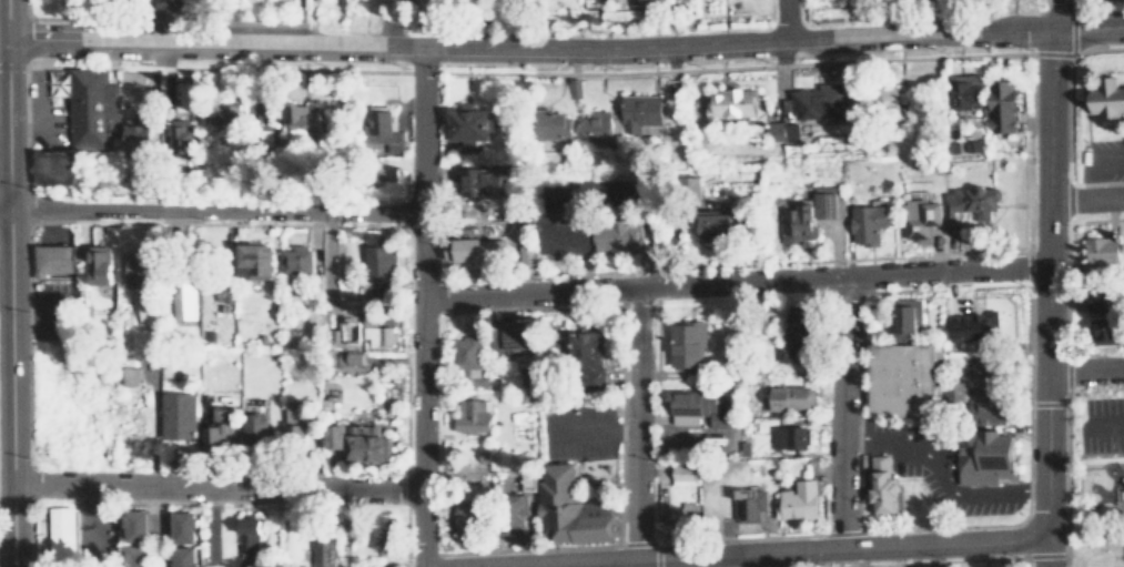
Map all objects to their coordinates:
parking lot: (174, 6)
park: (130, 8)
road: (780, 20)
road: (148, 21)
road: (192, 22)
road: (2, 28)
road: (1087, 30)
road: (528, 47)
building: (964, 90)
building: (1104, 97)
building: (813, 101)
building: (732, 103)
building: (1003, 107)
building: (87, 109)
building: (226, 112)
building: (640, 112)
building: (301, 118)
building: (467, 123)
building: (551, 124)
building: (596, 128)
building: (382, 131)
building: (781, 131)
building: (179, 135)
road: (2, 138)
building: (136, 139)
building: (51, 168)
building: (484, 181)
road: (1086, 199)
building: (970, 206)
road: (210, 209)
building: (917, 213)
building: (808, 215)
building: (865, 222)
building: (721, 223)
building: (564, 233)
building: (620, 236)
building: (478, 250)
building: (1103, 250)
building: (52, 259)
building: (297, 260)
building: (255, 261)
building: (379, 261)
building: (101, 264)
road: (1046, 269)
building: (134, 270)
road: (732, 281)
road: (7, 283)
building: (185, 297)
road: (418, 306)
building: (148, 311)
building: (902, 320)
building: (1110, 325)
building: (969, 326)
building: (376, 332)
building: (793, 340)
building: (688, 343)
building: (589, 355)
building: (467, 356)
building: (983, 366)
road: (1085, 367)
building: (130, 374)
building: (898, 379)
building: (792, 396)
building: (697, 407)
road: (842, 411)
building: (180, 414)
building: (295, 415)
building: (473, 415)
road: (635, 423)
building: (256, 426)
building: (220, 427)
building: (334, 435)
building: (789, 436)
building: (367, 443)
building: (982, 456)
road: (1085, 459)
building: (686, 474)
park: (1096, 475)
building: (878, 483)
road: (214, 488)
building: (801, 499)
building: (575, 507)
building: (515, 509)
building: (750, 509)
building: (463, 515)
building: (136, 525)
building: (183, 526)
road: (155, 528)
building: (250, 529)
building: (63, 530)
building: (379, 536)
building: (323, 550)
road: (772, 551)
road: (1046, 553)
building: (135, 556)
building: (183, 556)
road: (599, 564)

